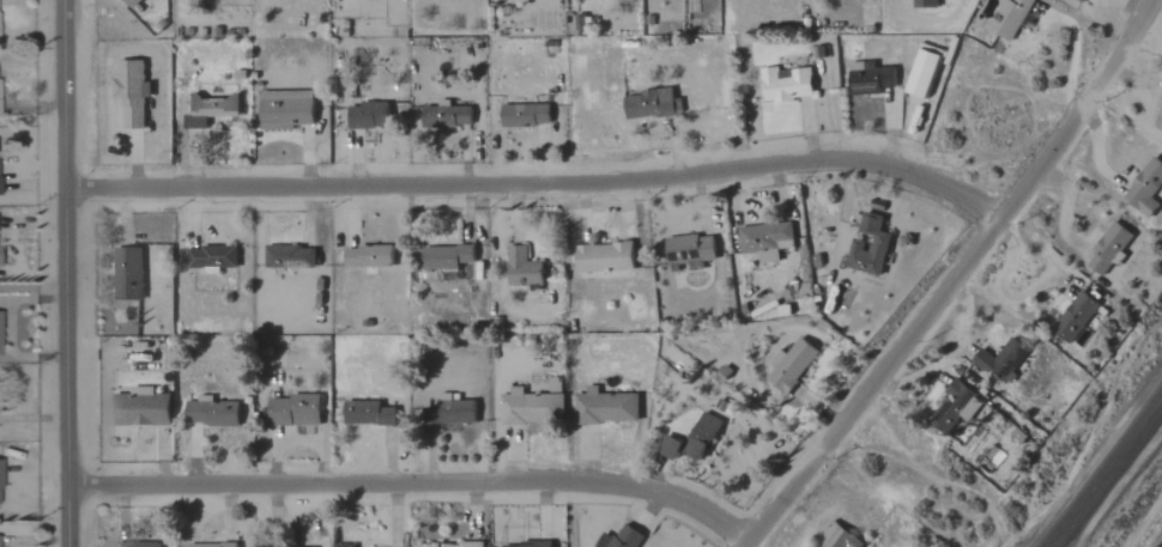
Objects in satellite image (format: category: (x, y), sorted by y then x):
building: (1081, 0)
building: (131, 2)
building: (924, 4)
building: (1009, 17)
building: (921, 73)
building: (869, 78)
building: (785, 85)
building: (131, 91)
building: (648, 104)
building: (210, 109)
building: (284, 109)
building: (525, 114)
building: (368, 115)
building: (446, 116)
building: (1161, 124)
road: (546, 183)
building: (1145, 188)
building: (878, 245)
building: (1108, 249)
building: (689, 250)
building: (289, 256)
building: (367, 256)
building: (444, 256)
building: (211, 257)
building: (603, 257)
building: (522, 268)
road: (73, 273)
building: (127, 274)
road: (954, 278)
building: (1075, 317)
building: (1000, 359)
building: (789, 364)
building: (605, 407)
building: (140, 408)
building: (531, 408)
building: (954, 408)
building: (293, 411)
building: (449, 412)
building: (211, 413)
building: (367, 413)
building: (691, 439)
railway: (1102, 469)
railway: (1108, 478)
road: (414, 482)
building: (835, 537)
building: (619, 539)
building: (135, 543)
building: (211, 545)
building: (343, 545)
building: (446, 545)
building: (526, 545)
building: (299, 546)

